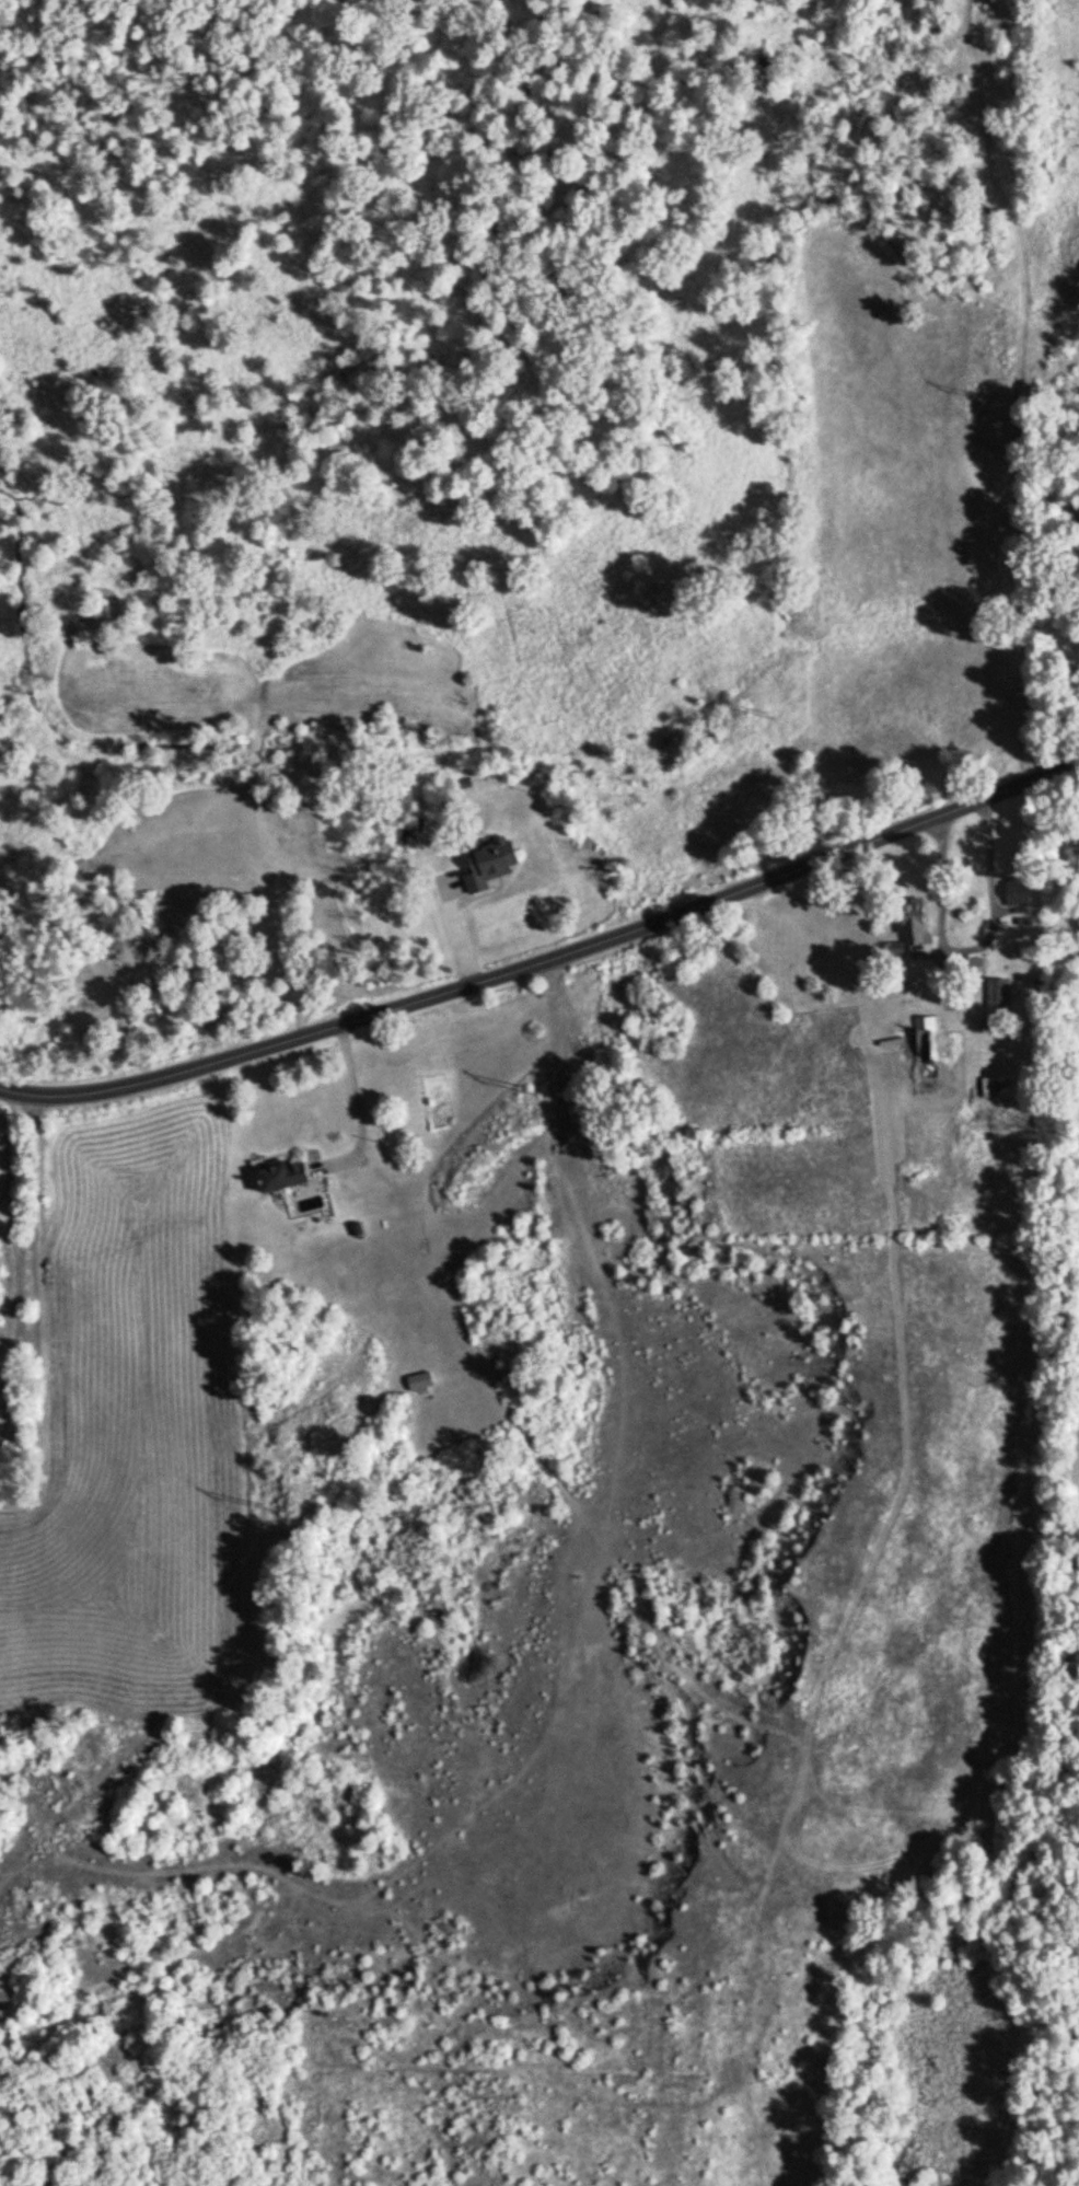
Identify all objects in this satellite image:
power tower: (976, 398)
power tower: (769, 715)
road: (988, 863)
building: (489, 864)
road: (939, 883)
building: (1017, 892)
building: (910, 927)
road: (550, 969)
building: (997, 1005)
crop: (1078, 1030)
building: (926, 1056)
power tower: (534, 1092)
road: (357, 1114)
building: (280, 1177)
crop: (1076, 1496)
power tower: (268, 1510)
quarry: (546, 1605)

